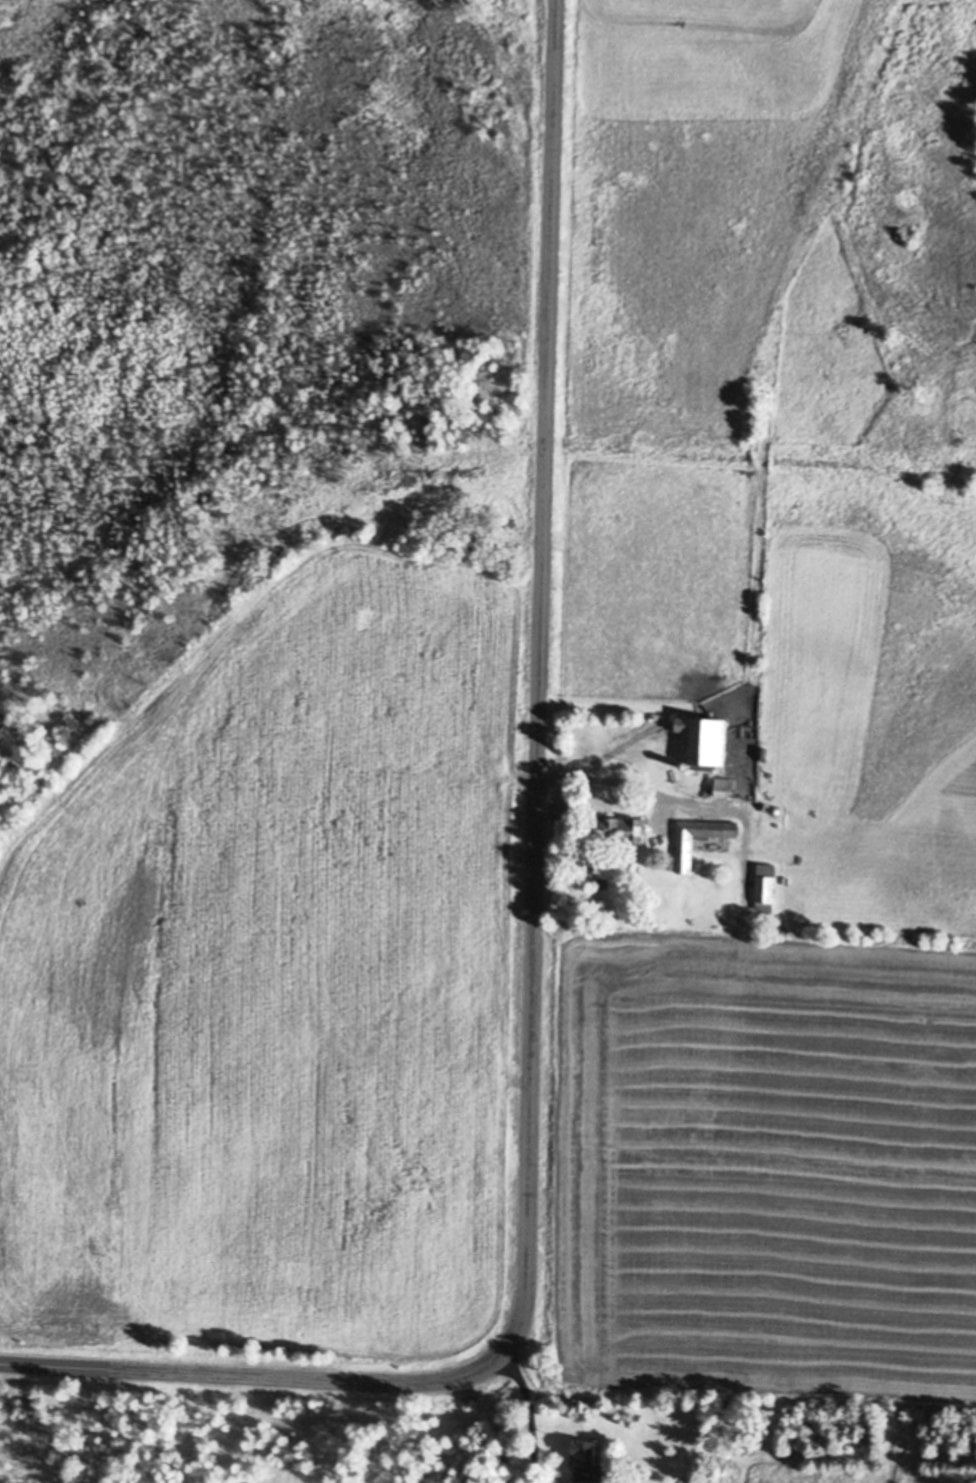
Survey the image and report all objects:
crop: (692, 209)
building: (704, 744)
road: (602, 780)
building: (721, 788)
building: (643, 809)
building: (775, 814)
building: (619, 831)
building: (683, 855)
building: (602, 883)
building: (764, 886)
road: (534, 934)
crop: (776, 947)
road: (528, 1415)
building: (584, 1457)

